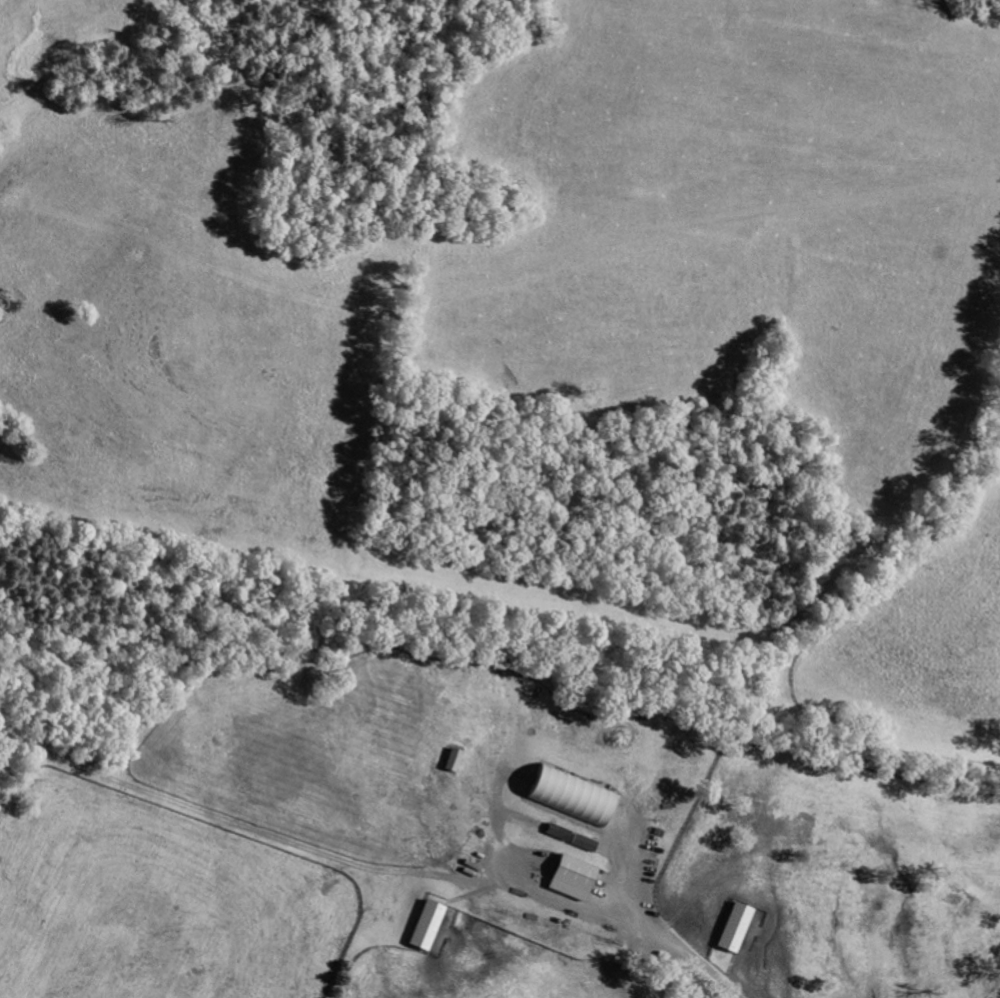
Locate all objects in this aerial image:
building: (454, 760)
building: (574, 877)
building: (427, 925)
building: (736, 927)
road: (682, 948)

